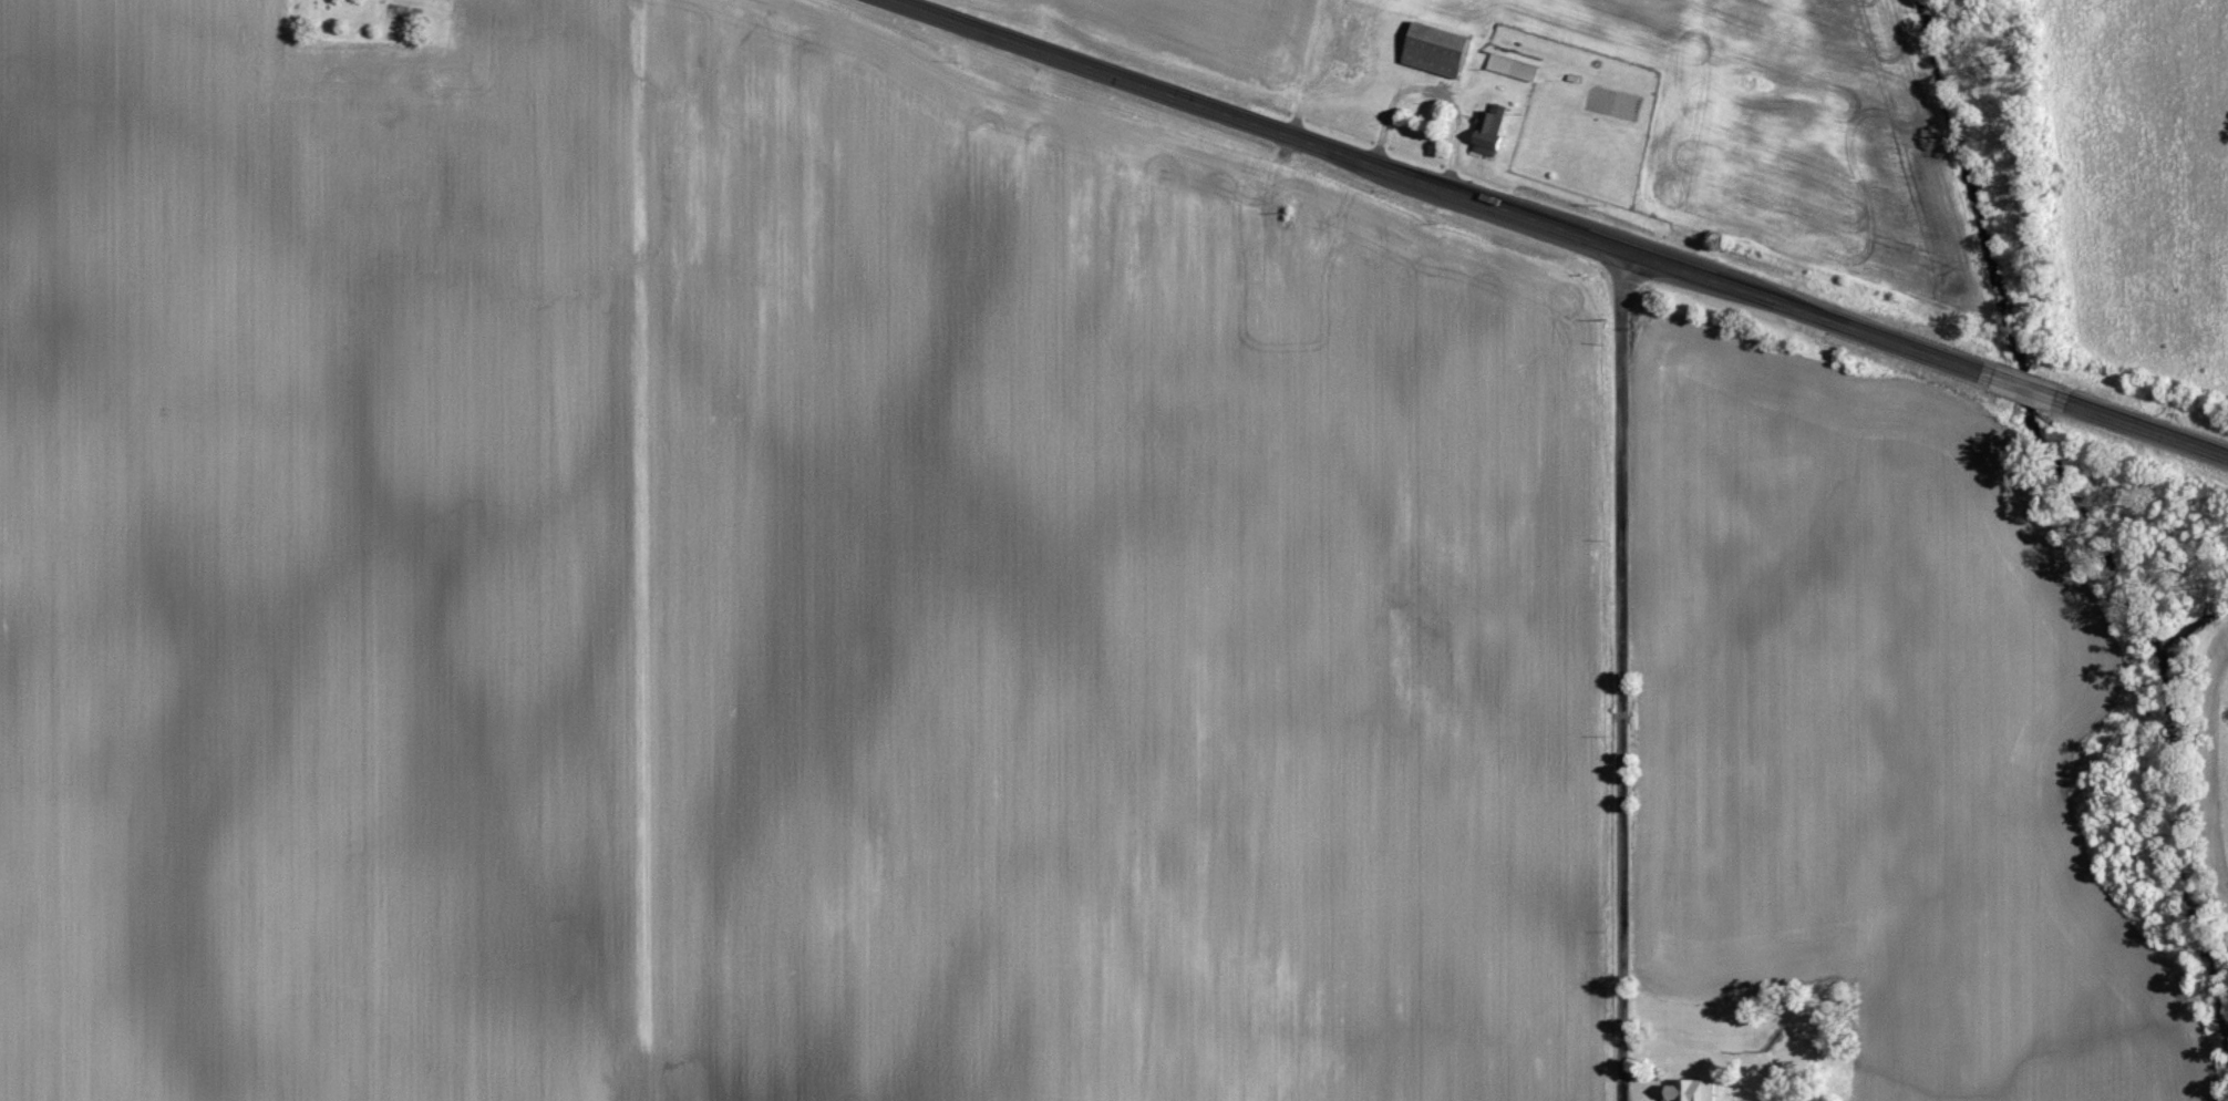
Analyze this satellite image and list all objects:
building: (1441, 49)
building: (1516, 66)
building: (1494, 130)
road: (1442, 186)
road: (2024, 385)
road: (2142, 425)
road: (1621, 675)
building: (1695, 1091)

